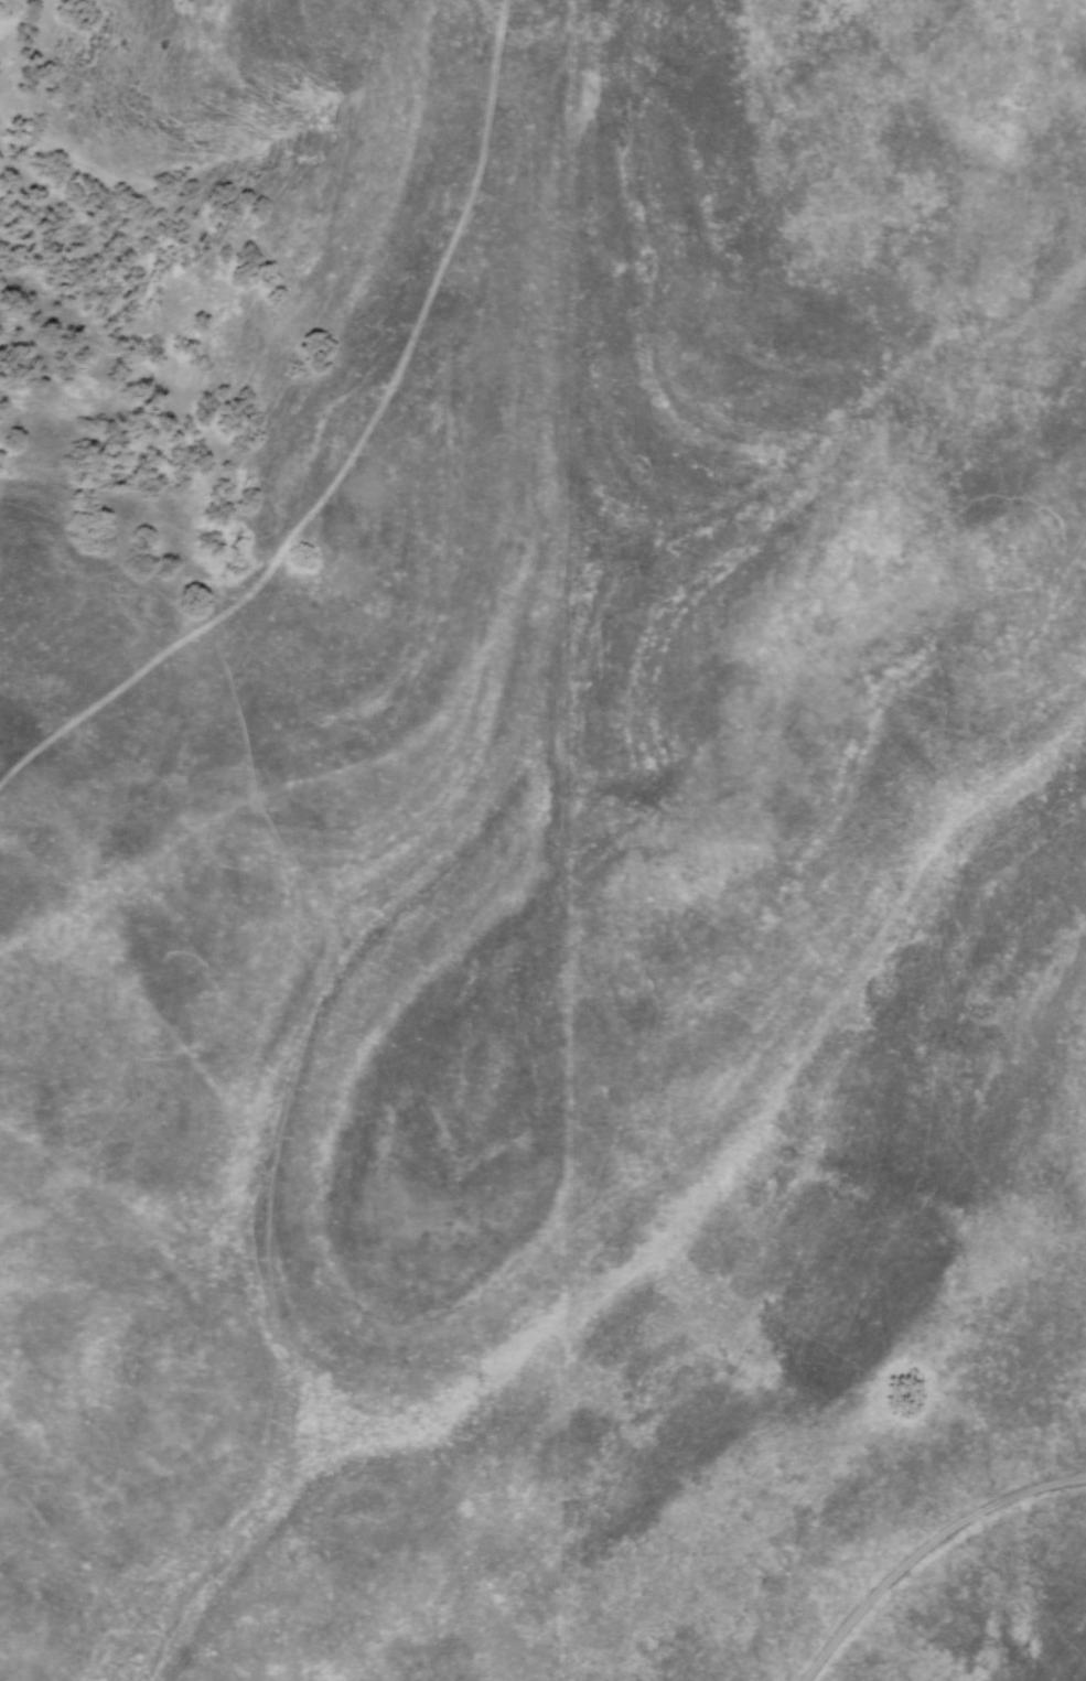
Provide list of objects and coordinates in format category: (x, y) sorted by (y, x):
road: (922, 1545)

